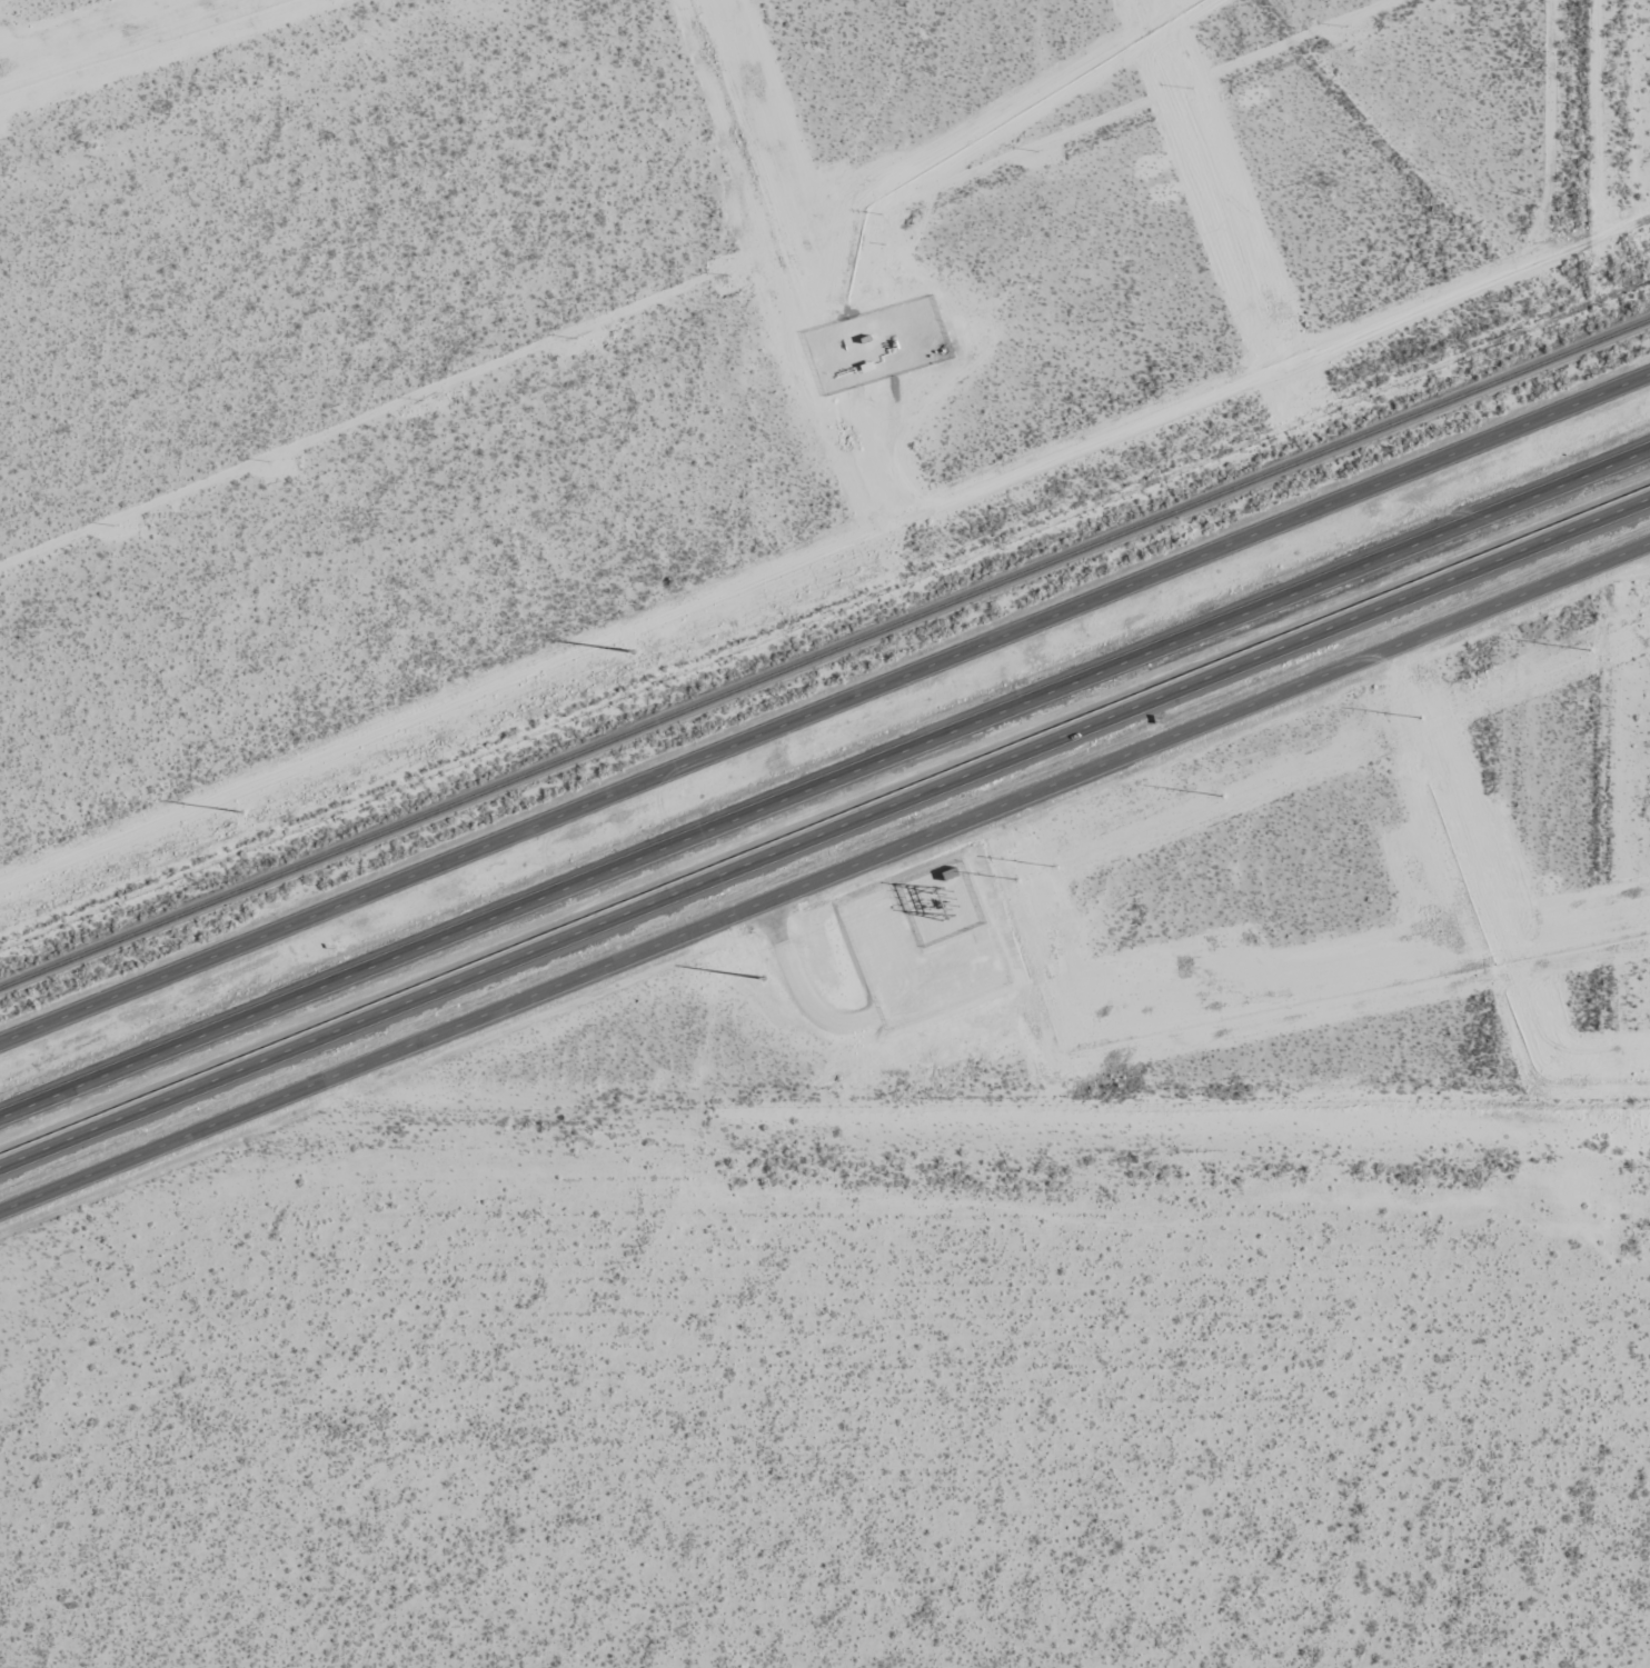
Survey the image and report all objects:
road: (1535, 133)
road: (824, 550)
railway: (824, 653)
road: (825, 708)
road: (824, 782)
road: (825, 831)
road: (825, 891)

